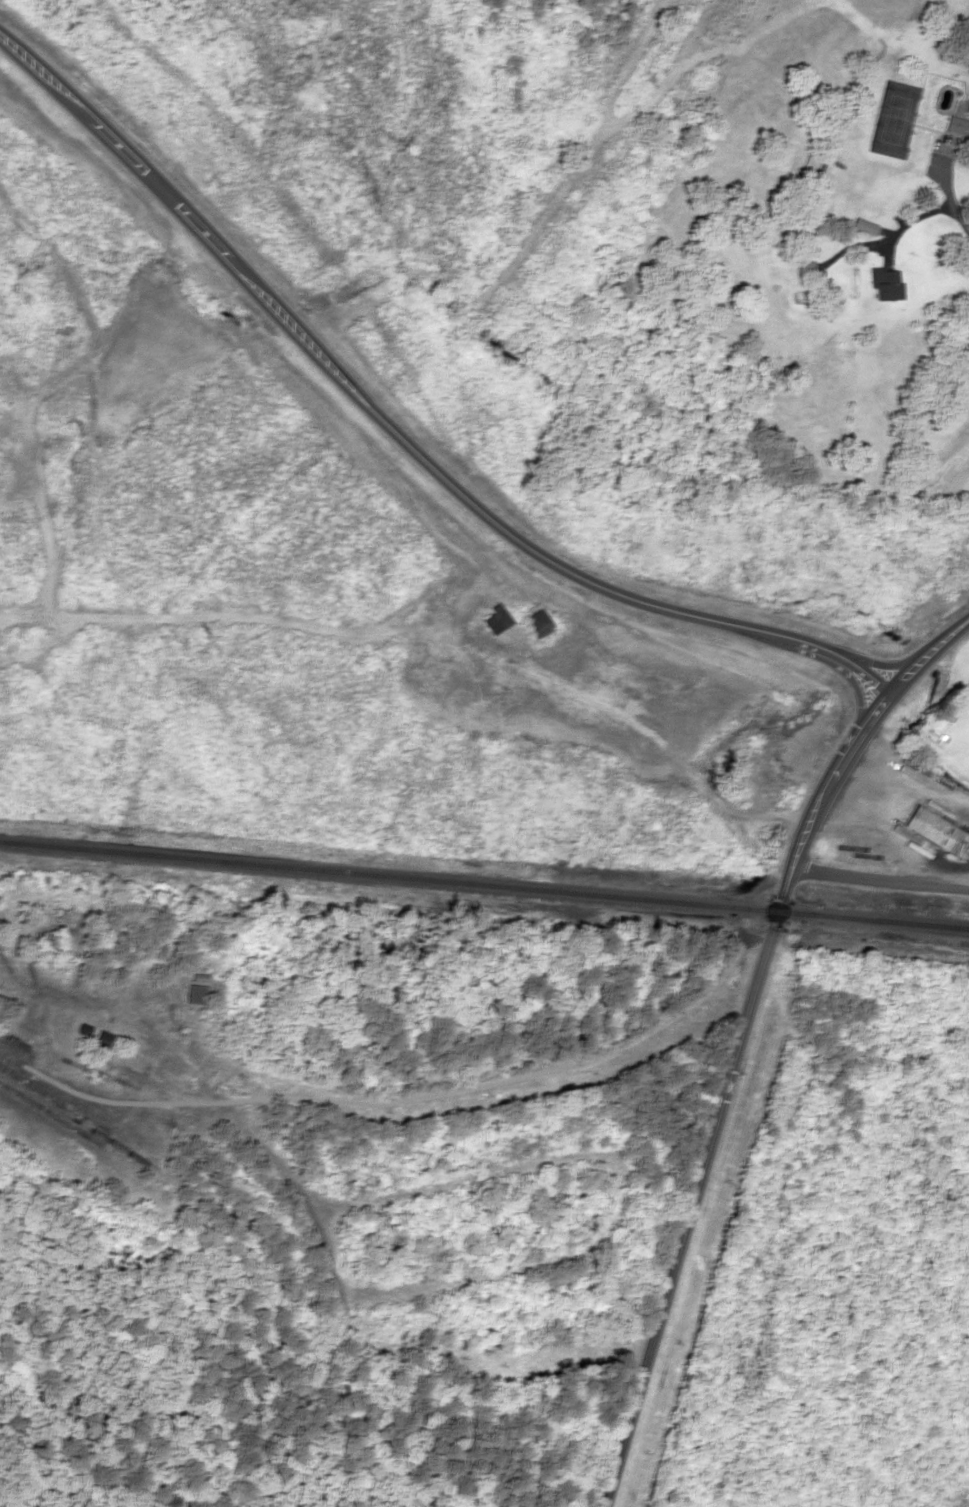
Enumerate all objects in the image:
building: (959, 122)
building: (814, 162)
building: (863, 226)
building: (802, 239)
building: (804, 269)
building: (885, 285)
road: (384, 454)
building: (492, 618)
building: (533, 622)
building: (934, 831)
road: (879, 875)
railway: (484, 883)
building: (61, 917)
building: (194, 994)
road: (743, 1037)
building: (101, 1039)
road: (436, 1088)

